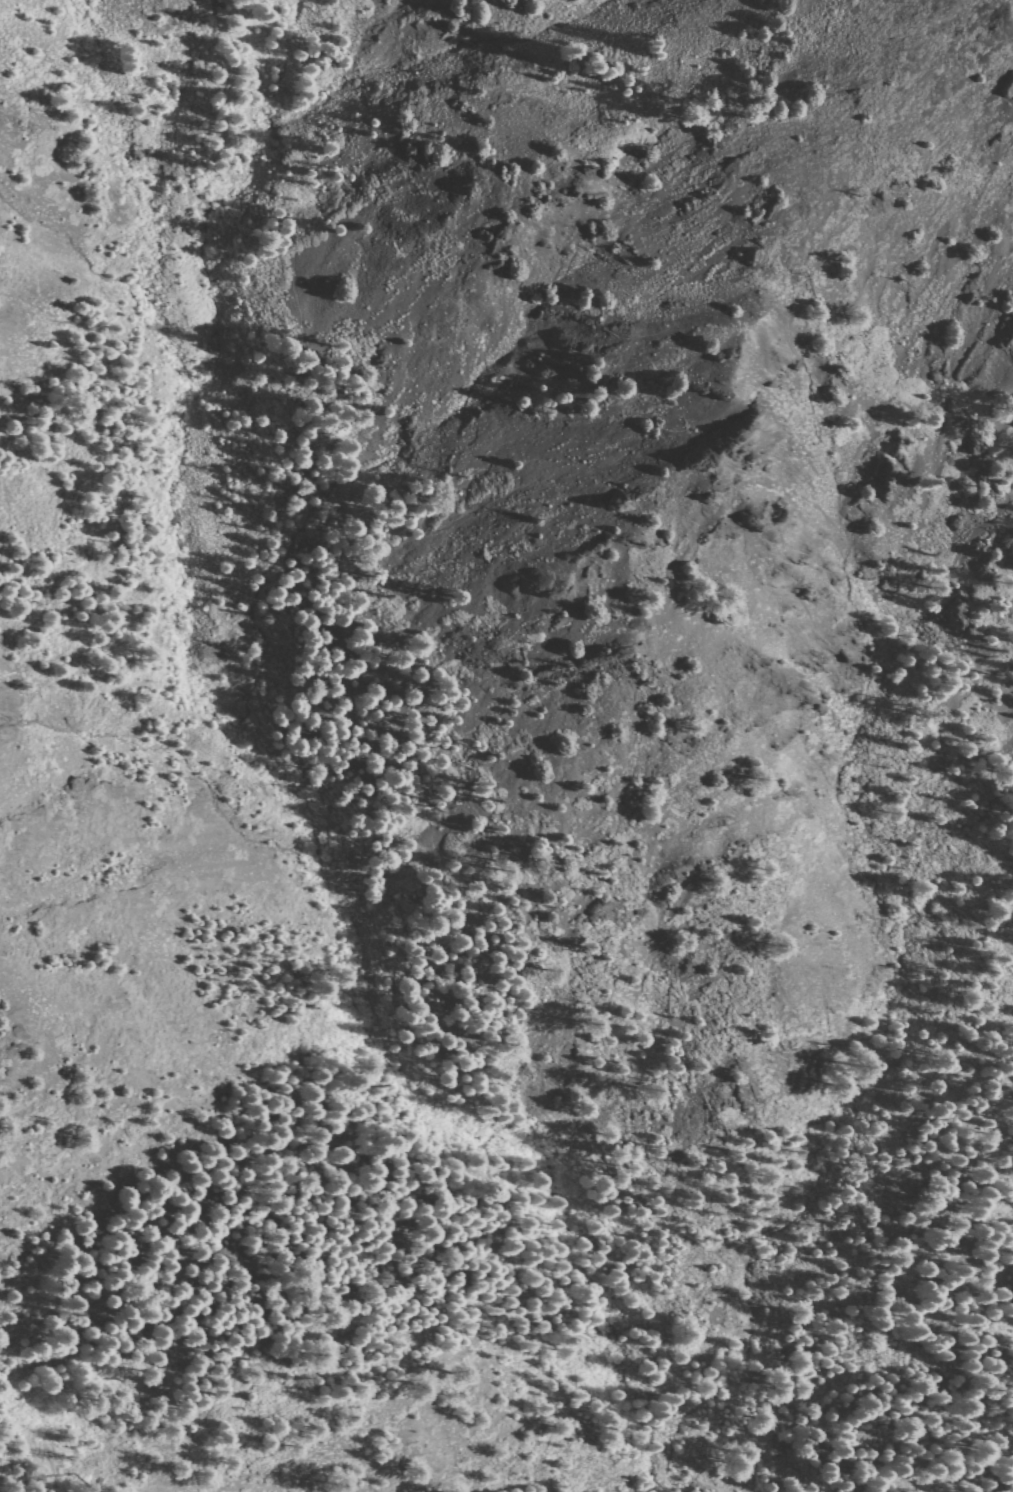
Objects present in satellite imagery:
road: (177, 1487)

